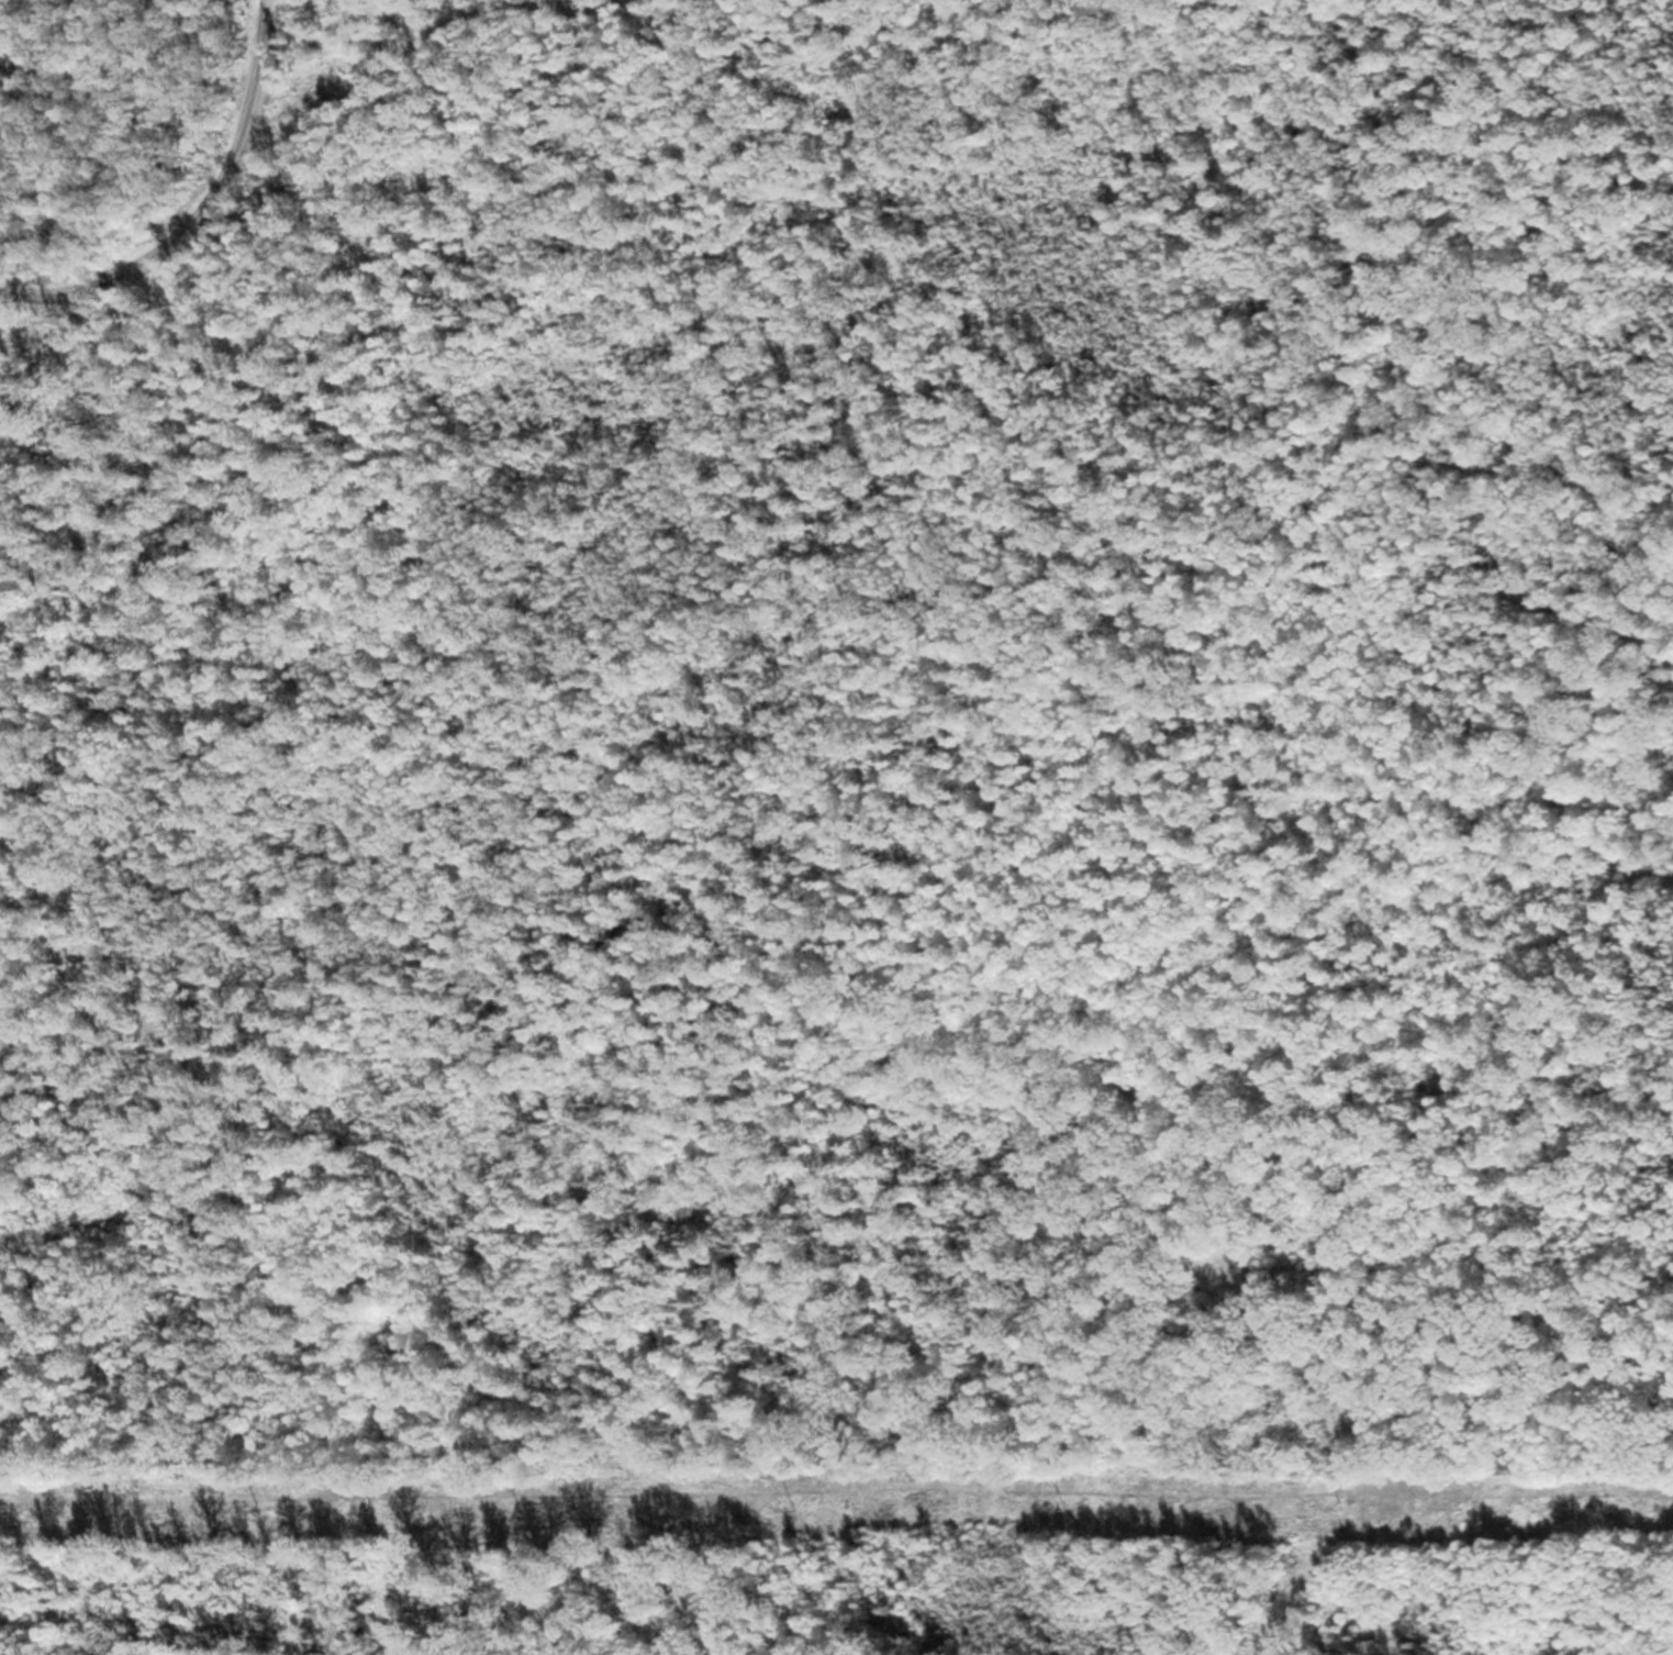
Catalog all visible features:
road: (197, 203)

